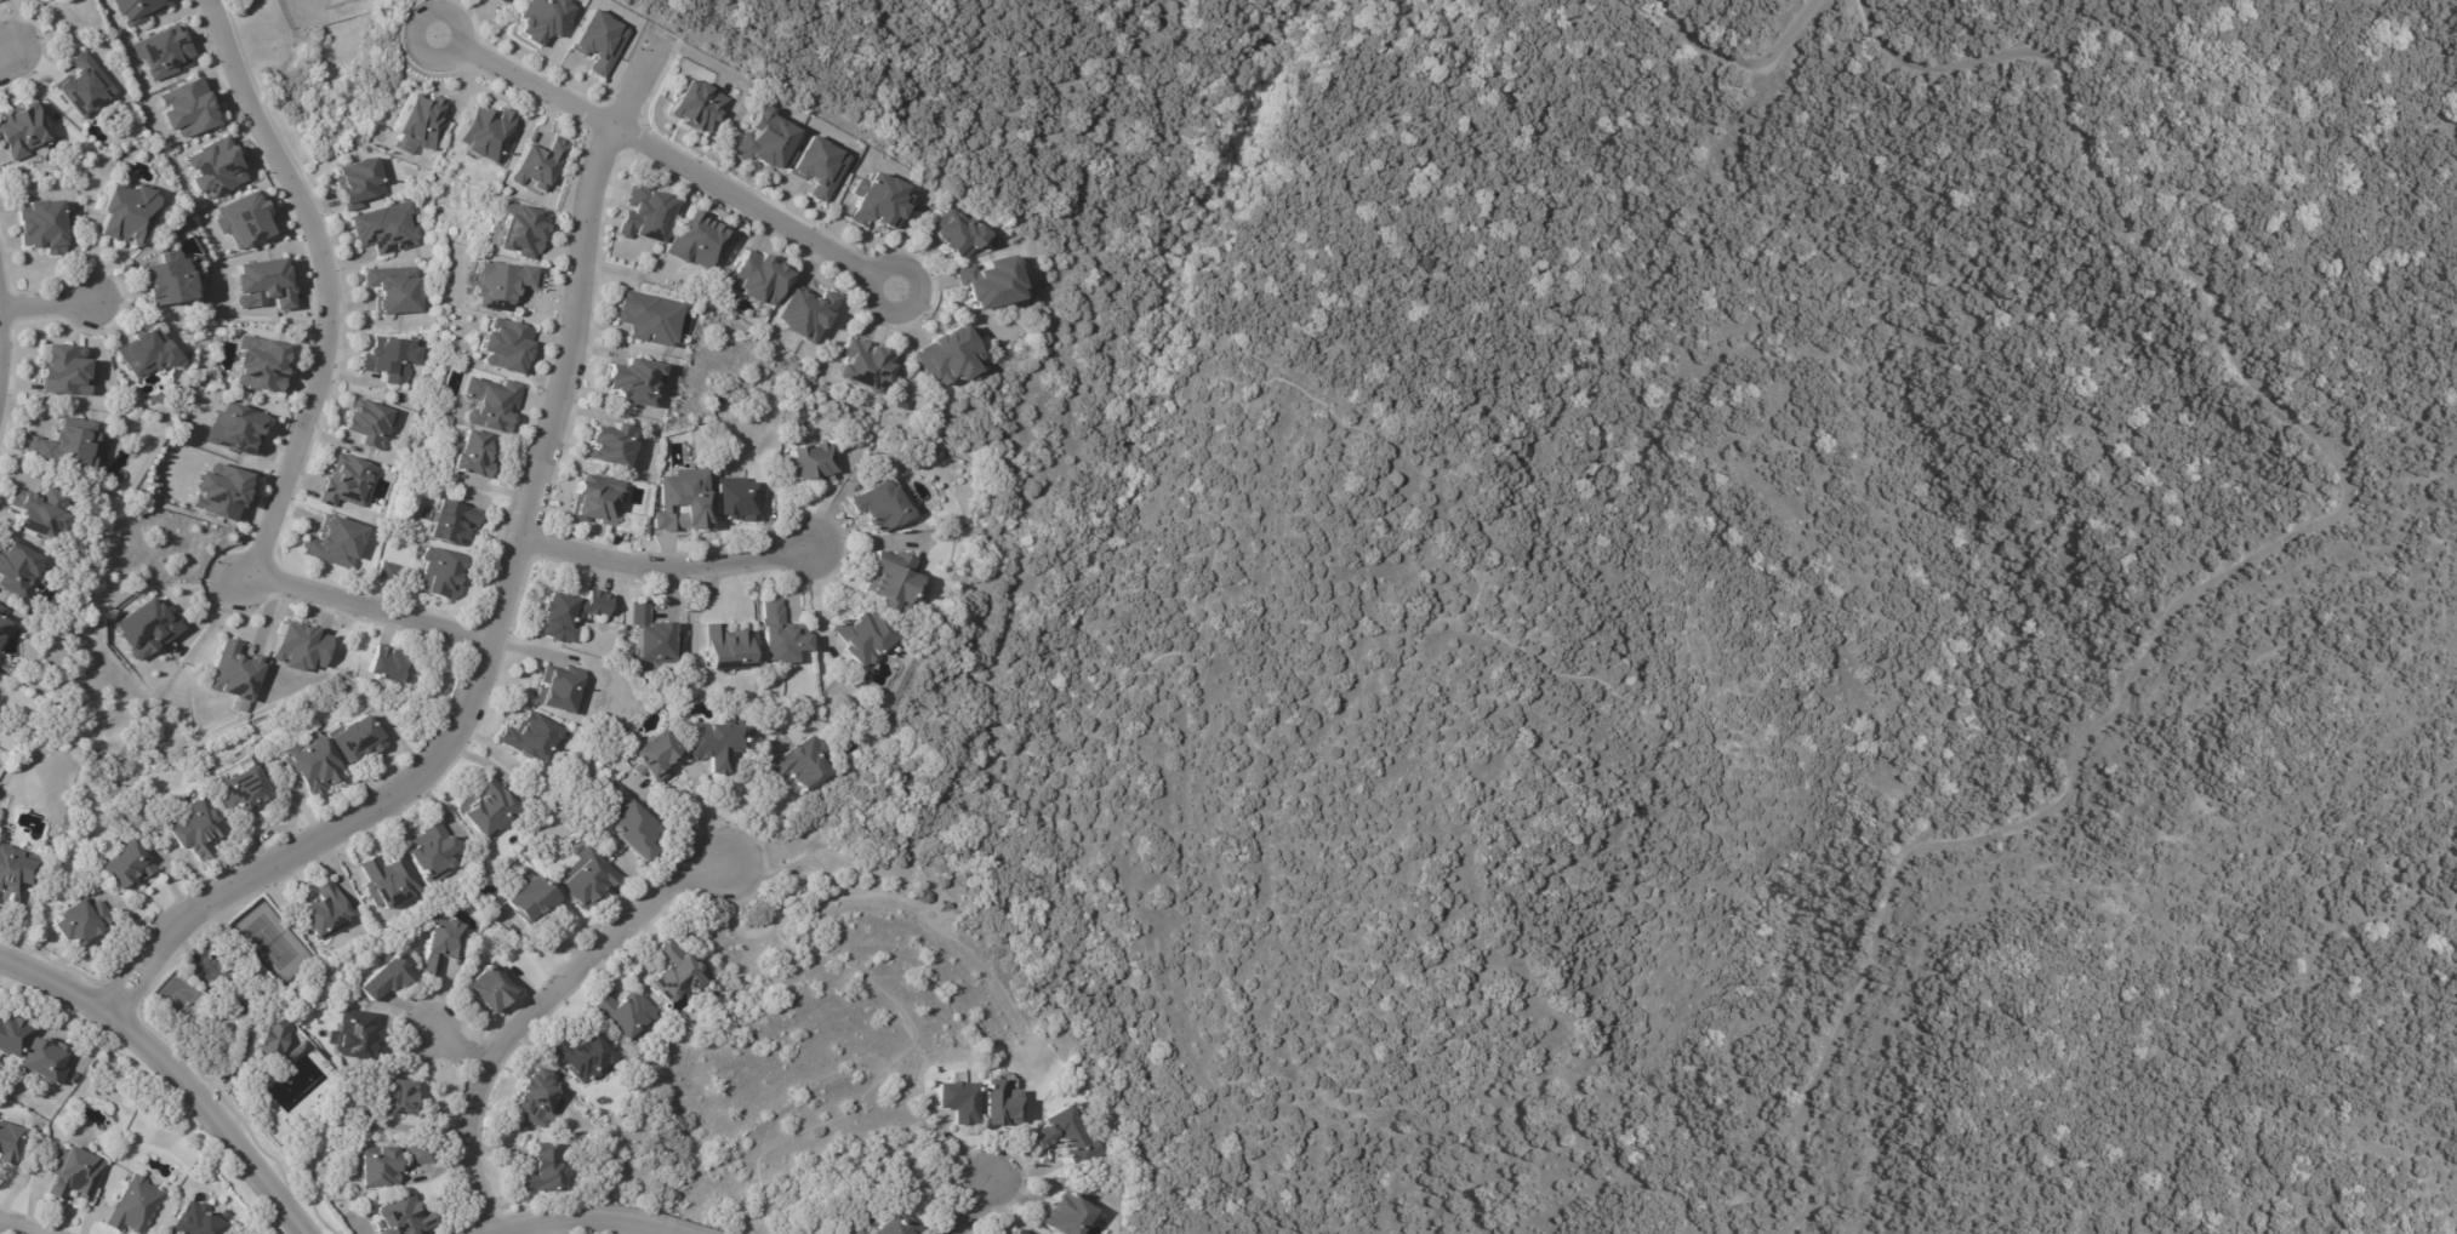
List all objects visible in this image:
building: (501, 1)
building: (137, 10)
building: (545, 18)
road: (412, 19)
building: (599, 39)
building: (164, 53)
road: (12, 56)
building: (85, 86)
building: (690, 105)
building: (188, 107)
building: (423, 122)
building: (24, 130)
building: (485, 136)
building: (763, 139)
road: (665, 158)
building: (538, 162)
building: (815, 166)
building: (217, 168)
building: (364, 182)
building: (876, 202)
building: (129, 211)
building: (642, 215)
building: (246, 219)
building: (47, 225)
building: (387, 229)
building: (521, 229)
building: (956, 235)
building: (691, 241)
building: (172, 279)
building: (758, 279)
building: (988, 280)
building: (503, 282)
building: (266, 284)
building: (394, 290)
road: (916, 301)
road: (47, 304)
building: (802, 314)
building: (644, 319)
building: (503, 344)
building: (150, 353)
building: (942, 356)
building: (392, 358)
building: (263, 365)
building: (863, 367)
building: (67, 370)
building: (634, 382)
building: (492, 402)
building: (899, 404)
road: (309, 406)
building: (372, 423)
building: (238, 425)
building: (68, 444)
building: (608, 444)
building: (474, 455)
building: (811, 463)
building: (349, 481)
building: (222, 490)
road: (832, 497)
building: (739, 498)
building: (682, 501)
building: (603, 505)
building: (885, 507)
building: (41, 510)
building: (454, 521)
building: (341, 542)
road: (666, 564)
building: (19, 569)
building: (397, 573)
building: (443, 573)
building: (894, 579)
road: (502, 593)
building: (0, 607)
building: (574, 613)
building: (4, 627)
building: (143, 628)
building: (781, 636)
building: (652, 638)
building: (867, 639)
building: (301, 646)
building: (732, 649)
building: (391, 664)
building: (239, 675)
building: (564, 690)
building: (357, 737)
building: (535, 738)
building: (720, 745)
building: (659, 758)
building: (314, 764)
building: (804, 766)
building: (241, 784)
building: (534, 801)
road: (743, 801)
building: (489, 811)
road: (707, 813)
building: (198, 829)
building: (637, 833)
building: (432, 852)
building: (129, 865)
building: (15, 874)
building: (592, 880)
building: (393, 884)
building: (922, 896)
building: (534, 902)
building: (330, 913)
building: (84, 921)
building: (441, 944)
building: (671, 972)
building: (388, 977)
building: (491, 989)
road: (540, 1005)
building: (625, 1013)
building: (13, 1035)
building: (361, 1035)
building: (275, 1040)
road: (466, 1042)
building: (300, 1055)
building: (582, 1055)
building: (45, 1059)
road: (182, 1061)
building: (532, 1096)
building: (404, 1099)
building: (956, 1099)
building: (999, 1103)
building: (364, 1119)
building: (1065, 1136)
building: (10, 1143)
building: (389, 1165)
building: (537, 1169)
building: (76, 1173)
building: (370, 1204)
road: (970, 1205)
building: (136, 1206)
road: (595, 1212)
building: (1064, 1216)
building: (407, 1218)
road: (38, 1219)
building: (199, 1221)
building: (889, 1226)
building: (1009, 1232)
building: (857, 1233)

